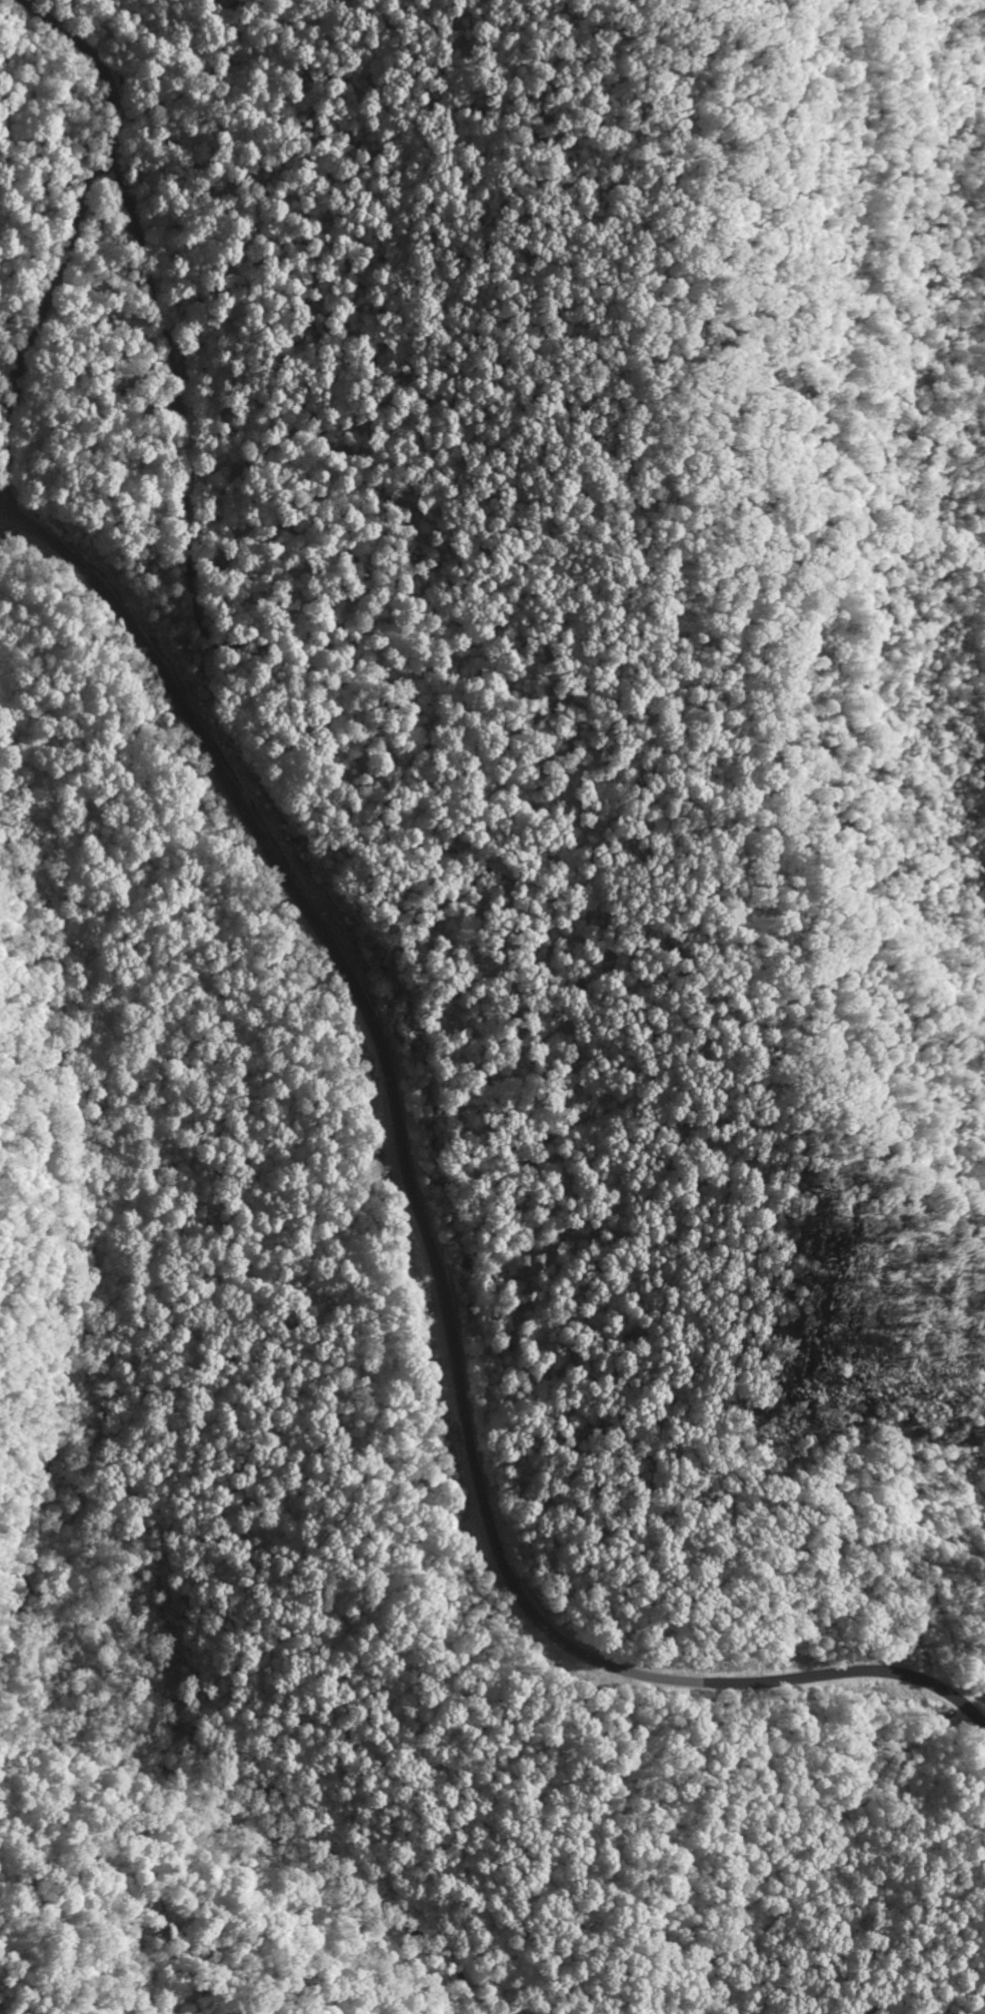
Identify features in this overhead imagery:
road: (74, 232)
road: (431, 1250)
road: (91, 1311)

